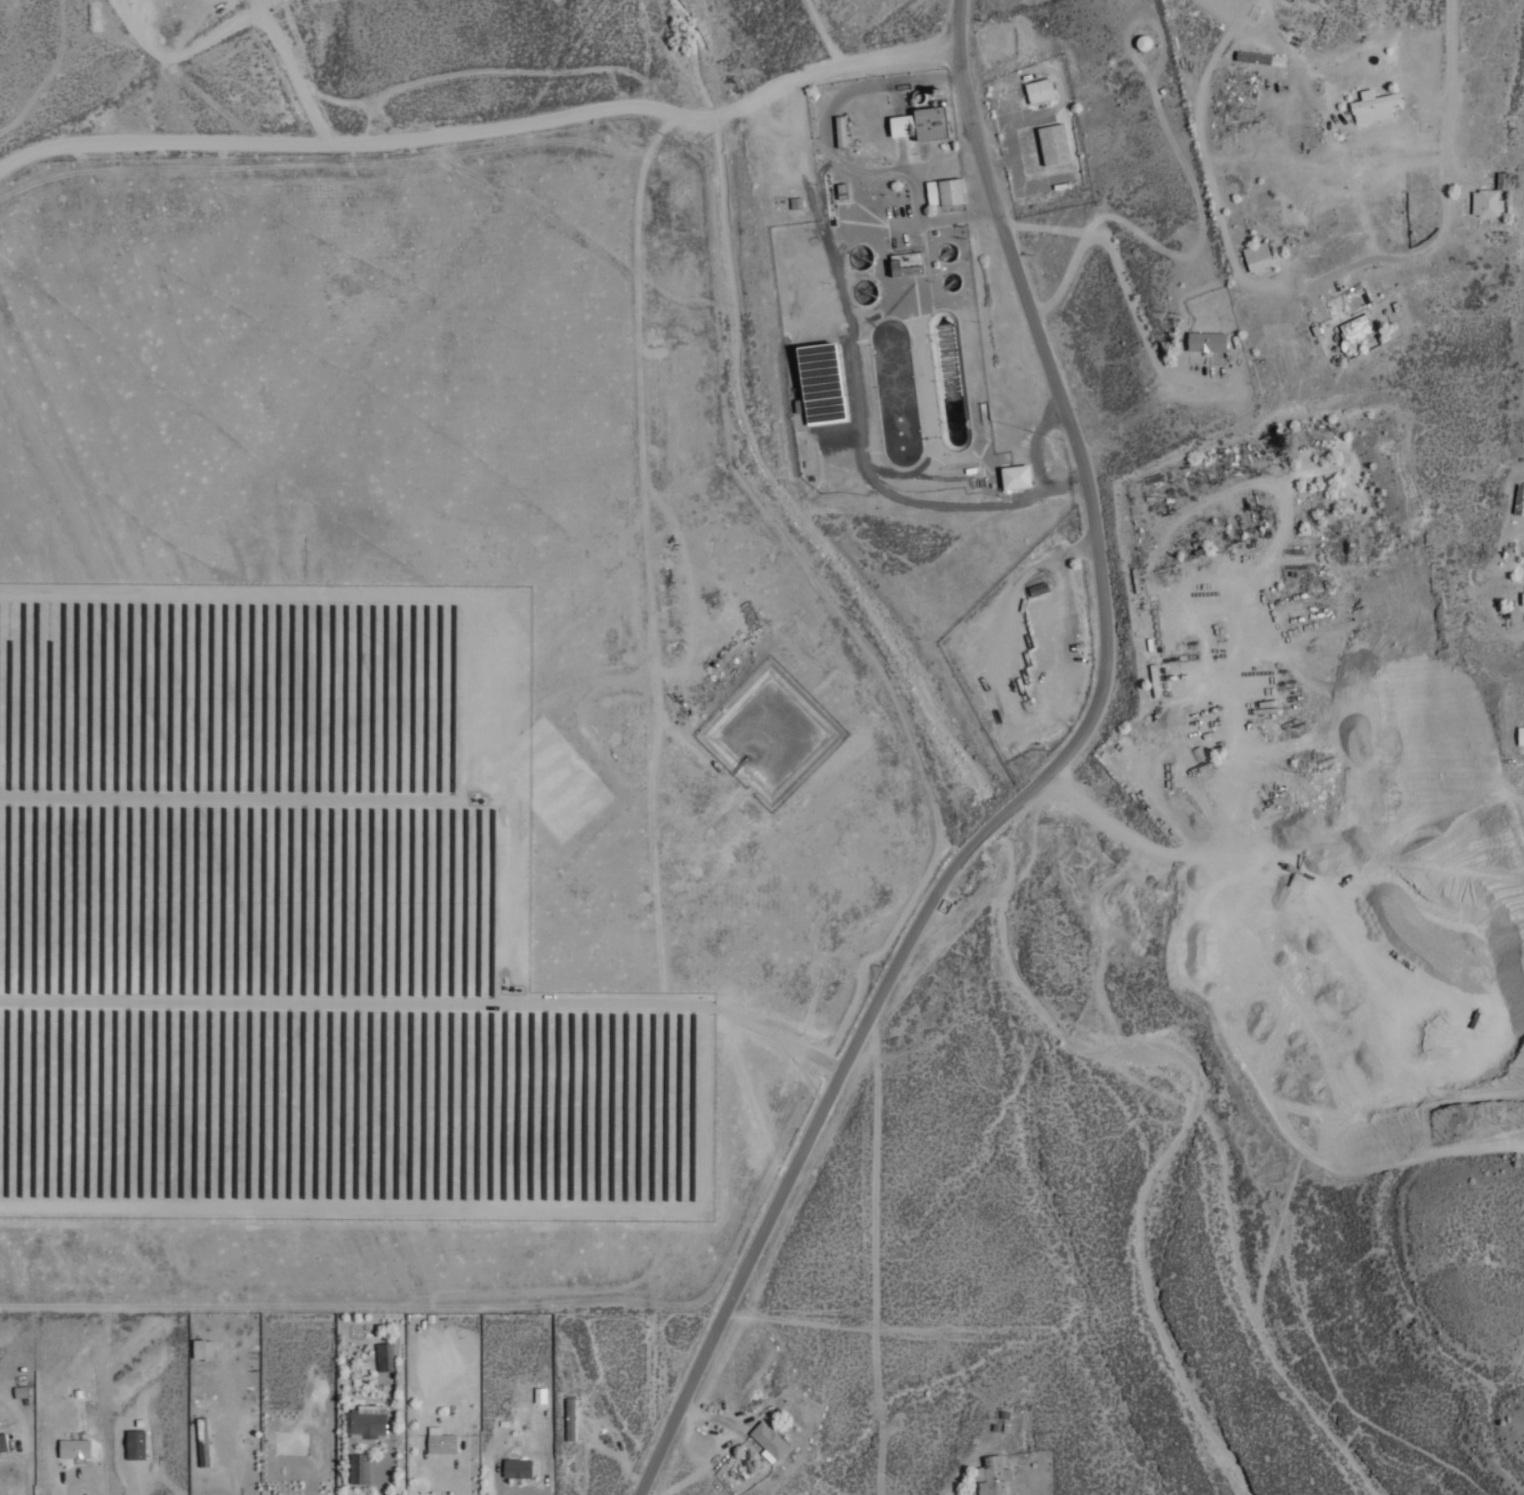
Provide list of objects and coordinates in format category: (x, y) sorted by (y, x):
road: (821, 31)
building: (1143, 41)
storage tank: (1143, 41)
building: (933, 88)
storage tank: (933, 88)
building: (1038, 89)
building: (1373, 105)
road: (967, 107)
building: (920, 122)
road: (482, 126)
building: (839, 130)
building: (1051, 143)
building: (840, 189)
building: (942, 191)
building: (1486, 202)
building: (1257, 255)
building: (904, 263)
wastewater plant: (882, 288)
building: (1355, 329)
building: (1206, 340)
building: (819, 381)
building: (1014, 475)
building: (1523, 593)
building: (1520, 734)
road: (958, 856)
solar farm: (303, 919)
building: (201, 1348)
building: (384, 1356)
building: (363, 1367)
building: (539, 1394)
building: (569, 1419)
building: (366, 1421)
building: (440, 1441)
building: (768, 1441)
building: (2, 1442)
building: (202, 1442)
building: (134, 1444)
building: (73, 1448)
building: (358, 1468)
building: (516, 1468)
building: (992, 1476)

